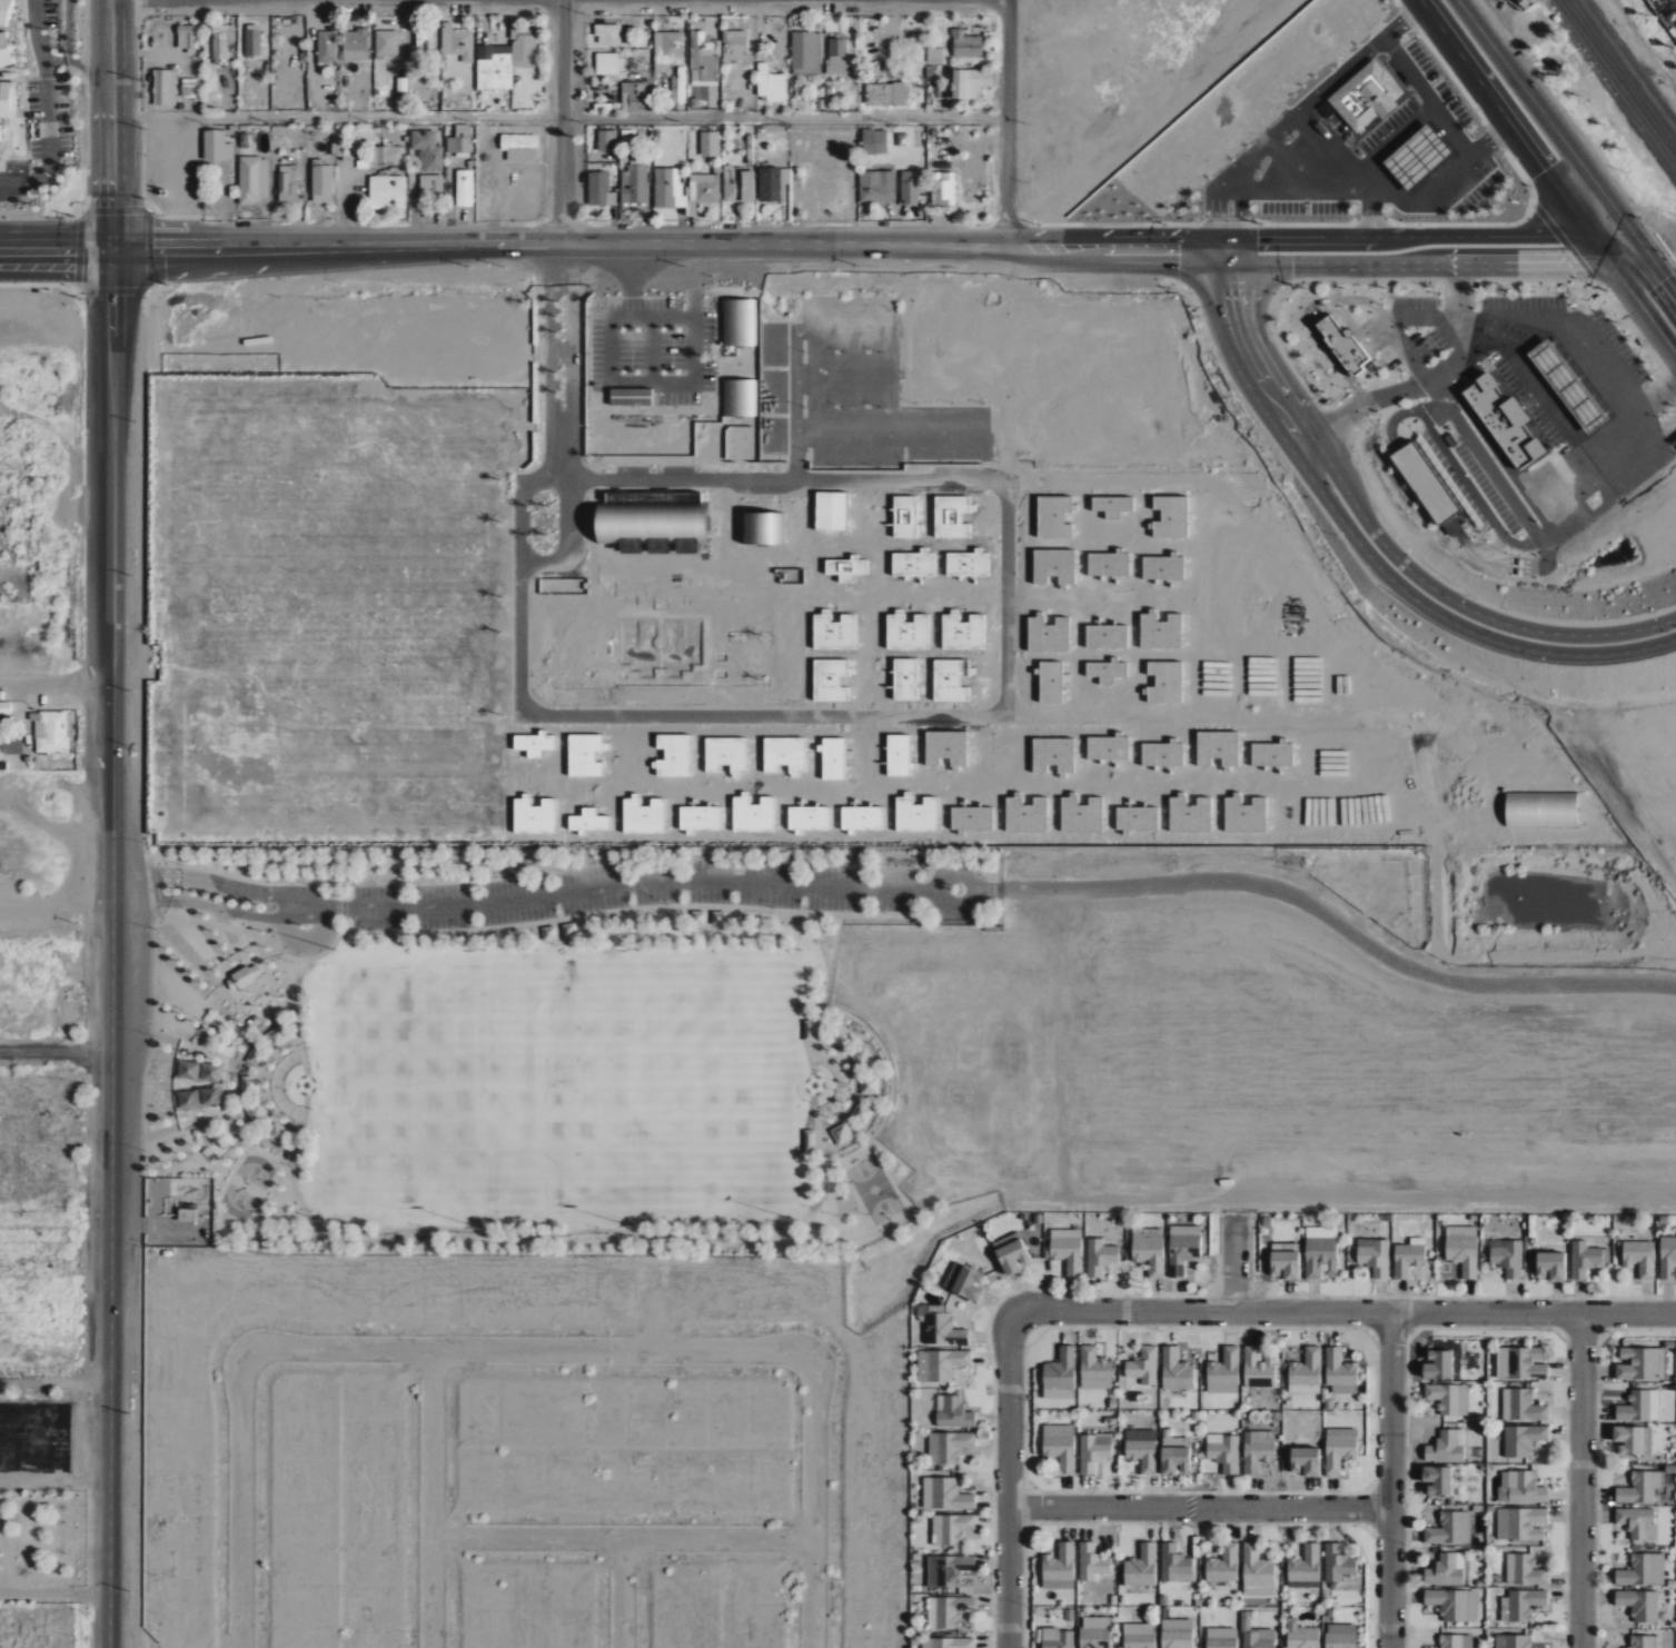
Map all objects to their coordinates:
road: (661, 8)
building: (3, 11)
road: (208, 12)
road: (959, 13)
road: (314, 14)
road: (344, 14)
road: (751, 16)
road: (817, 16)
road: (403, 18)
road: (716, 19)
road: (851, 19)
road: (594, 21)
road: (411, 22)
road: (446, 23)
road: (484, 27)
road: (988, 28)
building: (220, 29)
road: (760, 30)
building: (607, 36)
building: (188, 39)
road: (867, 39)
road: (51, 40)
building: (357, 41)
building: (254, 43)
building: (387, 43)
building: (964, 44)
building: (462, 46)
building: (674, 46)
building: (703, 46)
building: (220, 47)
building: (736, 47)
building: (328, 48)
building: (526, 48)
building: (419, 50)
road: (67, 51)
building: (804, 51)
building: (4, 52)
road: (146, 53)
building: (934, 56)
building: (837, 57)
road: (59, 61)
building: (609, 64)
building: (495, 71)
railway: (1620, 75)
road: (593, 78)
road: (995, 80)
building: (772, 82)
railway: (1615, 83)
building: (968, 85)
building: (162, 88)
building: (191, 88)
road: (591, 89)
road: (1485, 90)
building: (886, 95)
building: (635, 97)
building: (7, 100)
building: (210, 100)
road: (591, 106)
road: (1538, 109)
road: (47, 110)
road: (556, 119)
road: (108, 121)
road: (563, 121)
road: (1005, 123)
building: (628, 136)
road: (979, 139)
building: (0, 141)
building: (462, 141)
building: (607, 141)
building: (870, 141)
building: (519, 145)
building: (711, 145)
building: (216, 147)
building: (429, 149)
building: (387, 157)
road: (528, 170)
traffic signals: (1551, 181)
building: (254, 182)
building: (287, 182)
building: (324, 185)
building: (773, 185)
building: (433, 186)
building: (635, 186)
building: (737, 186)
building: (877, 187)
building: (910, 187)
building: (466, 189)
building: (666, 189)
building: (704, 189)
building: (942, 189)
building: (601, 190)
building: (388, 193)
road: (414, 198)
road: (452, 199)
road: (344, 200)
road: (494, 206)
road: (1570, 209)
road: (227, 224)
road: (281, 224)
road: (264, 225)
road: (319, 225)
road: (693, 226)
road: (730, 226)
road: (751, 226)
road: (785, 226)
road: (894, 226)
road: (918, 226)
road: (613, 227)
road: (625, 227)
road: (648, 227)
road: (681, 228)
road: (1605, 228)
road: (943, 229)
road: (56, 242)
road: (558, 244)
road: (1580, 246)
road: (1084, 248)
road: (1643, 249)
traffic signals: (1164, 250)
road: (1189, 251)
road: (1234, 252)
traffic signals: (1254, 254)
road: (1285, 254)
road: (1442, 254)
traffic signals: (1571, 254)
road: (1279, 268)
road: (1224, 269)
road: (1614, 269)
road: (1213, 271)
traffic signals: (1666, 279)
road: (1670, 286)
traffic signals: (1229, 291)
traffic signals: (1252, 291)
building: (197, 299)
road: (1456, 302)
road: (1577, 319)
building: (740, 321)
building: (180, 326)
building: (217, 326)
road: (1656, 327)
road: (1499, 331)
building: (1342, 345)
building: (1585, 360)
gas station: (1585, 360)
road: (1275, 368)
road: (1258, 374)
building: (1567, 386)
road: (1539, 389)
building: (631, 397)
building: (740, 397)
road: (1390, 397)
building: (1519, 406)
gas station: (1519, 406)
parking lot: (1548, 413)
building: (1505, 421)
road: (1647, 436)
gas station: (1624, 441)
road: (1306, 448)
road: (1586, 455)
building: (1425, 482)
building: (831, 512)
building: (1051, 514)
building: (904, 516)
building: (951, 516)
building: (651, 526)
building: (763, 527)
building: (912, 564)
building: (966, 564)
building: (1108, 564)
road: (1378, 565)
building: (1053, 566)
building: (1162, 567)
building: (845, 568)
road: (112, 572)
road: (1332, 602)
road: (1462, 603)
building: (833, 632)
building: (906, 632)
building: (962, 632)
building: (904, 678)
building: (829, 679)
building: (950, 679)
road: (70, 703)
building: (51, 732)
building: (534, 744)
building: (784, 754)
building: (584, 755)
building: (674, 755)
building: (725, 755)
building: (897, 755)
building: (833, 758)
building: (1541, 810)
building: (915, 814)
building: (533, 815)
building: (753, 815)
building: (643, 816)
building: (700, 818)
building: (809, 818)
building: (861, 818)
building: (588, 821)
crop: (46, 851)
road: (150, 857)
road: (149, 858)
road: (132, 874)
road: (633, 883)
road: (151, 886)
road: (239, 888)
road: (975, 888)
road: (988, 890)
road: (929, 891)
parking lot: (632, 893)
road: (135, 901)
road: (336, 910)
road: (598, 913)
road: (241, 914)
road: (853, 915)
building: (696, 917)
building: (717, 917)
road: (956, 917)
road: (201, 922)
road: (1340, 924)
building: (568, 931)
building: (548, 933)
road: (267, 942)
road: (833, 942)
road: (304, 943)
road: (298, 959)
road: (309, 960)
building: (254, 971)
building: (239, 973)
road: (288, 975)
road: (111, 977)
building: (244, 981)
building: (230, 983)
building: (809, 1031)
building: (277, 1036)
park: (533, 1043)
road: (56, 1054)
building: (257, 1058)
building: (862, 1058)
road: (145, 1073)
road: (306, 1081)
park: (713, 1084)
building: (200, 1085)
building: (249, 1085)
park: (407, 1085)
park: (559, 1085)
building: (869, 1085)
building: (832, 1109)
road: (814, 1112)
building: (257, 1114)
building: (862, 1114)
building: (277, 1134)
building: (841, 1134)
building: (809, 1140)
building: (894, 1168)
park: (255, 1170)
park: (872, 1190)
building: (842, 1197)
park: (236, 1202)
road: (830, 1205)
building: (187, 1214)
road: (126, 1225)
road: (169, 1228)
road: (513, 1235)
road: (823, 1241)
building: (1010, 1252)
building: (1181, 1252)
building: (1067, 1253)
building: (1148, 1254)
building: (1461, 1254)
building: (1099, 1257)
building: (1319, 1257)
building: (1638, 1257)
building: (1667, 1257)
building: (1373, 1258)
building: (1406, 1259)
building: (1507, 1259)
building: (1583, 1259)
road: (1234, 1261)
building: (1285, 1264)
building: (1550, 1265)
building: (968, 1284)
road: (1253, 1292)
road: (1212, 1293)
road: (1232, 1294)
road: (1425, 1297)
road: (1342, 1313)
road: (986, 1324)
road: (1485, 1328)
building: (942, 1330)
road: (1390, 1331)
road: (1369, 1332)
road: (1410, 1332)
road: (1580, 1332)
road: (1561, 1333)
road: (1601, 1333)
road: (1024, 1344)
road: (110, 1351)
building: (1519, 1363)
building: (1640, 1363)
building: (939, 1364)
building: (1092, 1366)
building: (1142, 1366)
building: (1438, 1366)
building: (1258, 1368)
building: (1338, 1368)
building: (1059, 1369)
building: (1174, 1369)
building: (1223, 1369)
building: (1305, 1370)
road: (54, 1386)
building: (1447, 1398)
building: (1520, 1406)
building: (1634, 1407)
building: (952, 1412)
crop: (46, 1436)
building: (1521, 1439)
building: (1628, 1439)
building: (948, 1447)
building: (1444, 1448)
building: (1059, 1450)
building: (1338, 1451)
building: (1254, 1452)
road: (1595, 1452)
building: (1091, 1453)
building: (1223, 1453)
building: (1141, 1455)
building: (1173, 1460)
building: (1305, 1460)
building: (1437, 1479)
road: (1389, 1480)
road: (1579, 1480)
road: (1009, 1481)
road: (1028, 1487)
building: (1639, 1487)
road: (1369, 1489)
building: (1520, 1489)
building: (944, 1493)
road: (1027, 1507)
road: (1199, 1508)
road: (1370, 1509)
building: (1634, 1521)
road: (1197, 1523)
building: (1519, 1523)
building: (950, 1528)
road: (1028, 1528)
building: (1445, 1529)
road: (1369, 1530)
building: (1091, 1562)
building: (1172, 1562)
building: (1336, 1563)
building: (1058, 1565)
building: (1140, 1565)
building: (1222, 1565)
building: (1254, 1566)
building: (1303, 1566)
building: (945, 1569)
building: (1523, 1570)
building: (1642, 1570)
building: (1444, 1571)
road: (54, 1596)
building: (1452, 1604)
building: (1523, 1605)
building: (1638, 1605)
building: (946, 1611)
building: (1093, 1639)
building: (1139, 1639)
building: (1176, 1639)
building: (1301, 1639)
building: (1339, 1640)
building: (1059, 1641)
building: (1254, 1641)
building: (1450, 1641)
building: (1510, 1641)
building: (1640, 1641)
building: (946, 1642)
building: (1220, 1642)

